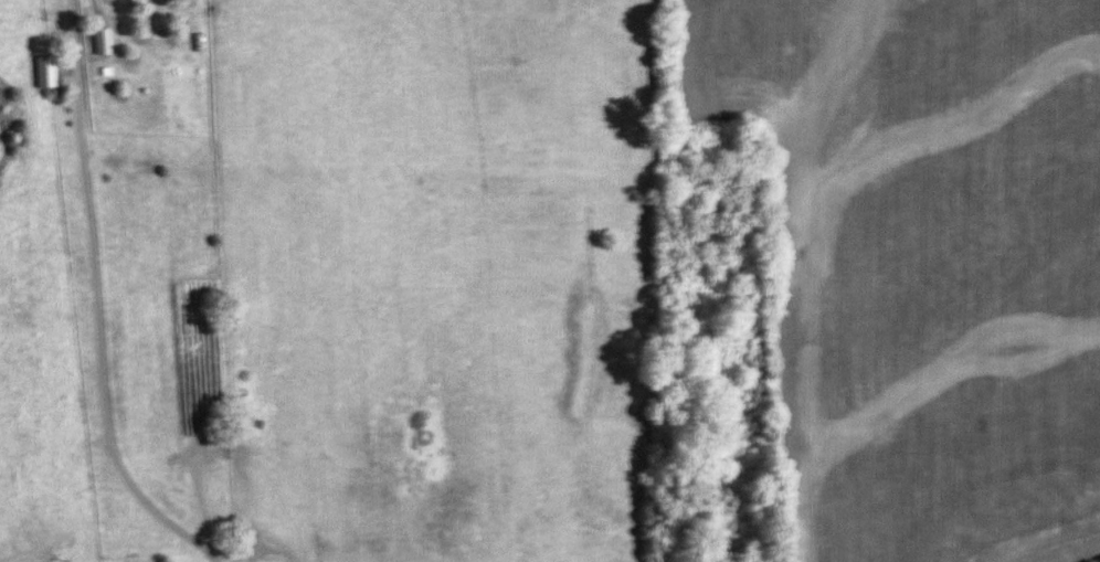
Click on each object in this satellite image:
building: (101, 42)
building: (44, 72)
road: (94, 301)

